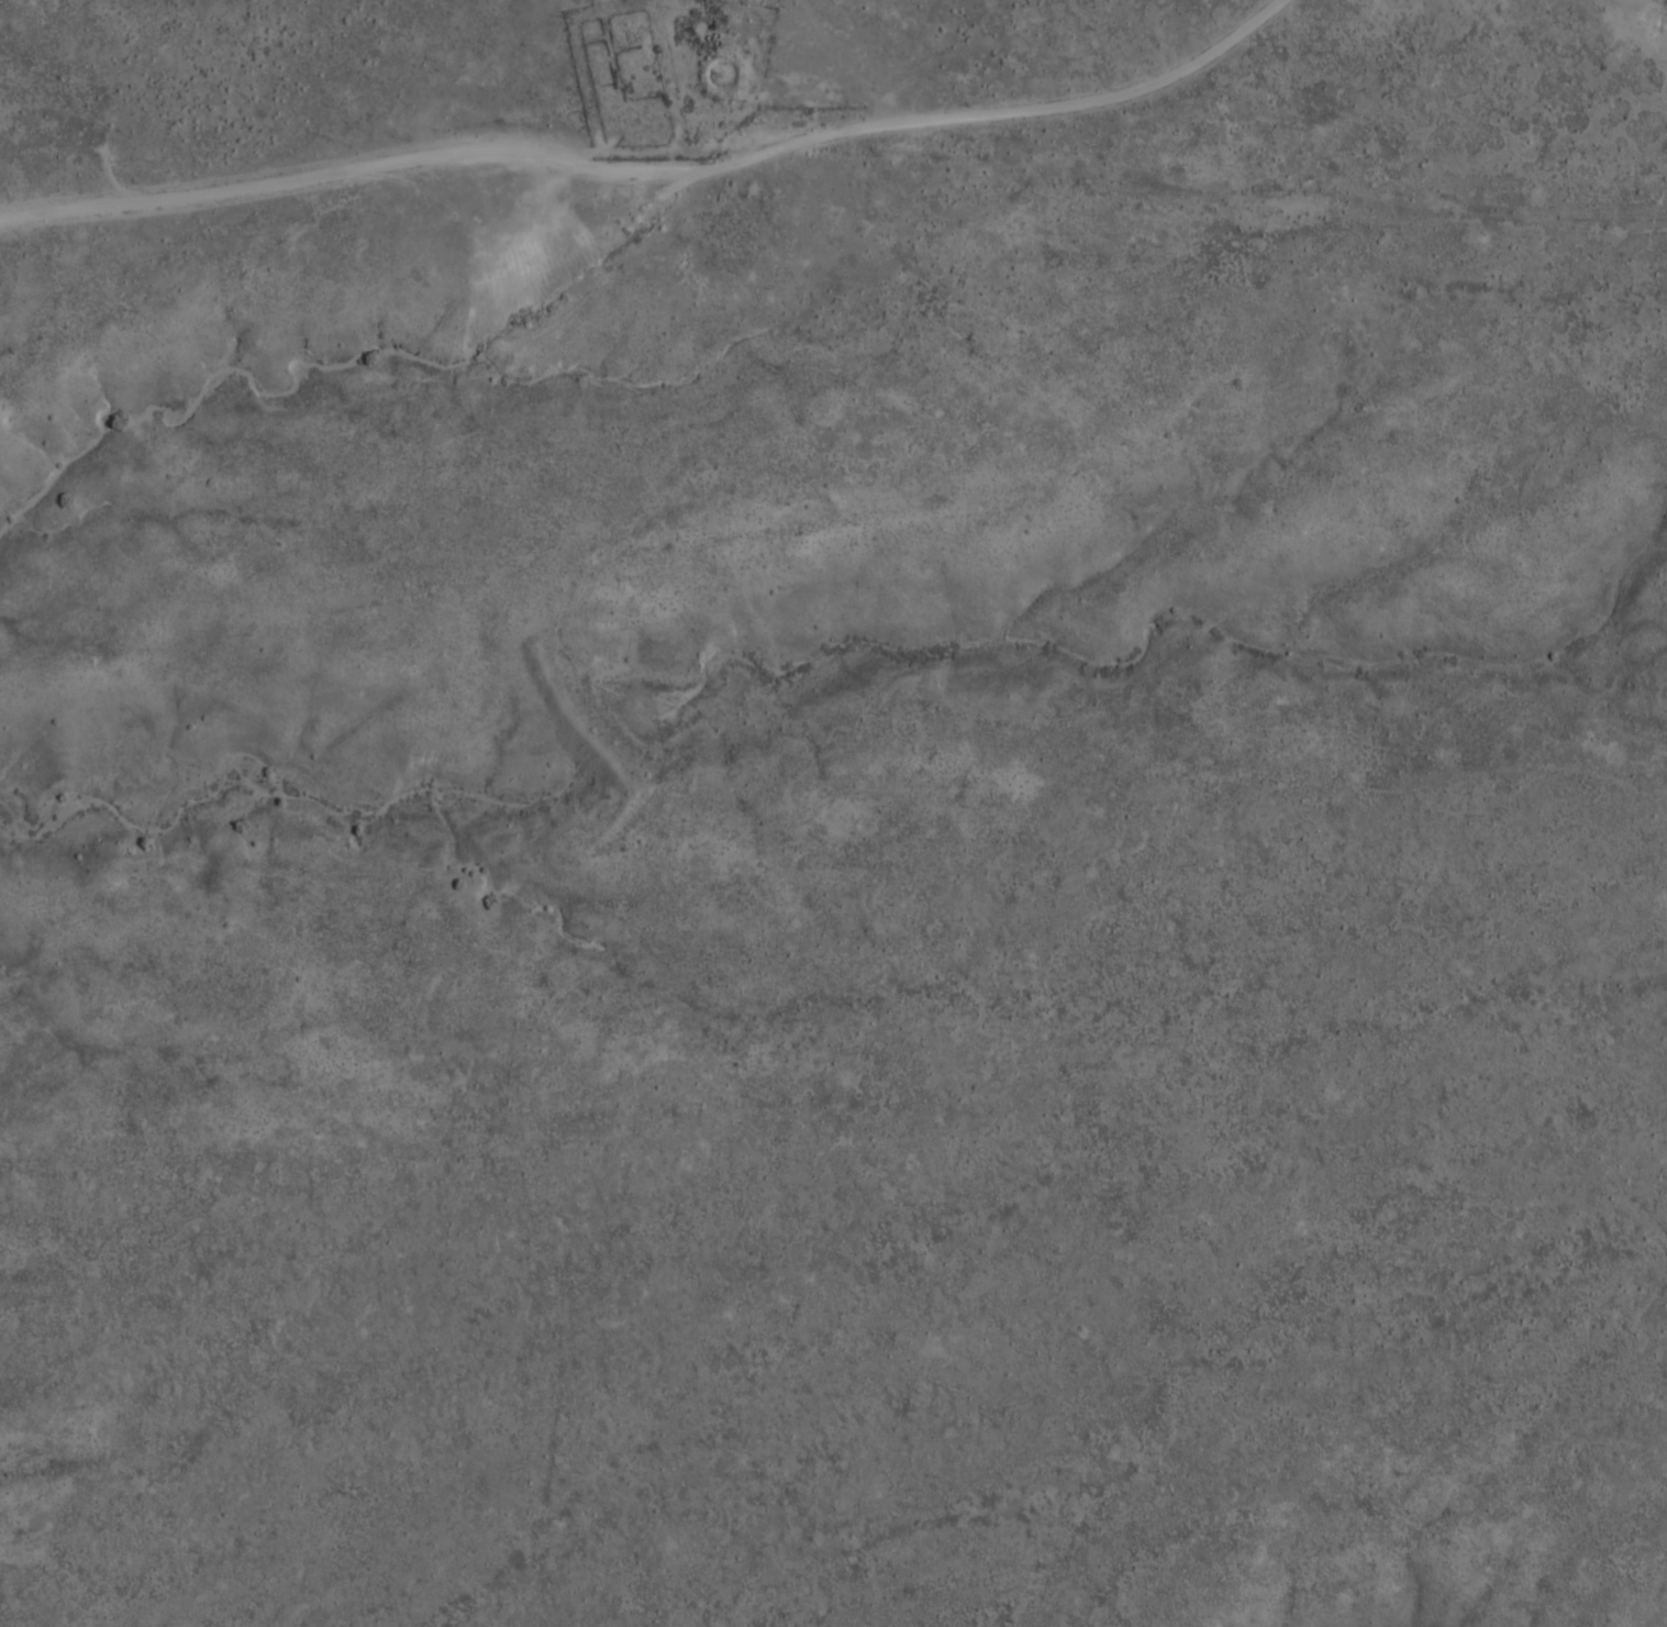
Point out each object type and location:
road: (655, 159)

